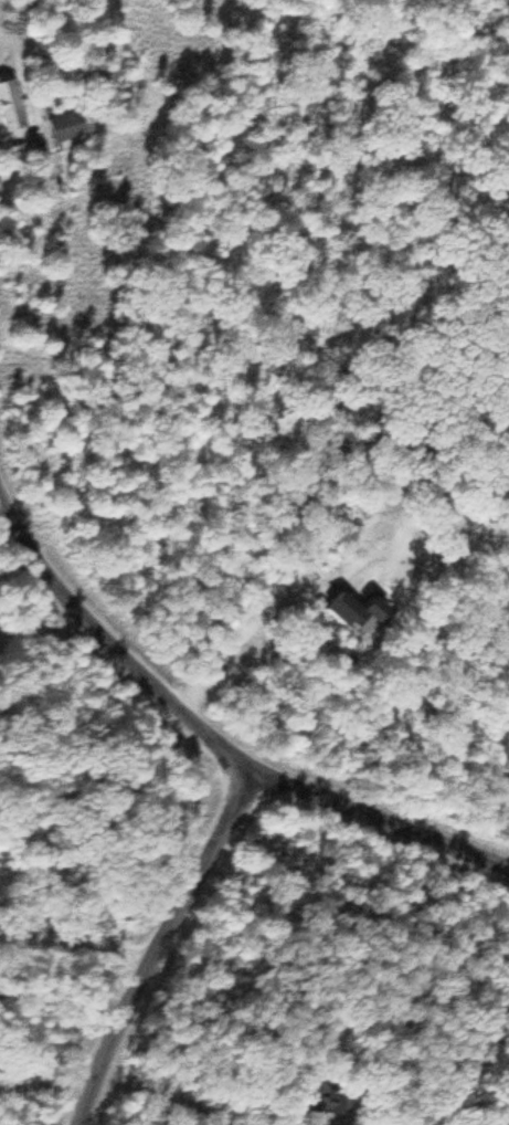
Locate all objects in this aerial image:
building: (6, 112)
building: (56, 128)
road: (112, 651)
road: (380, 823)
road: (157, 944)
building: (307, 1096)

